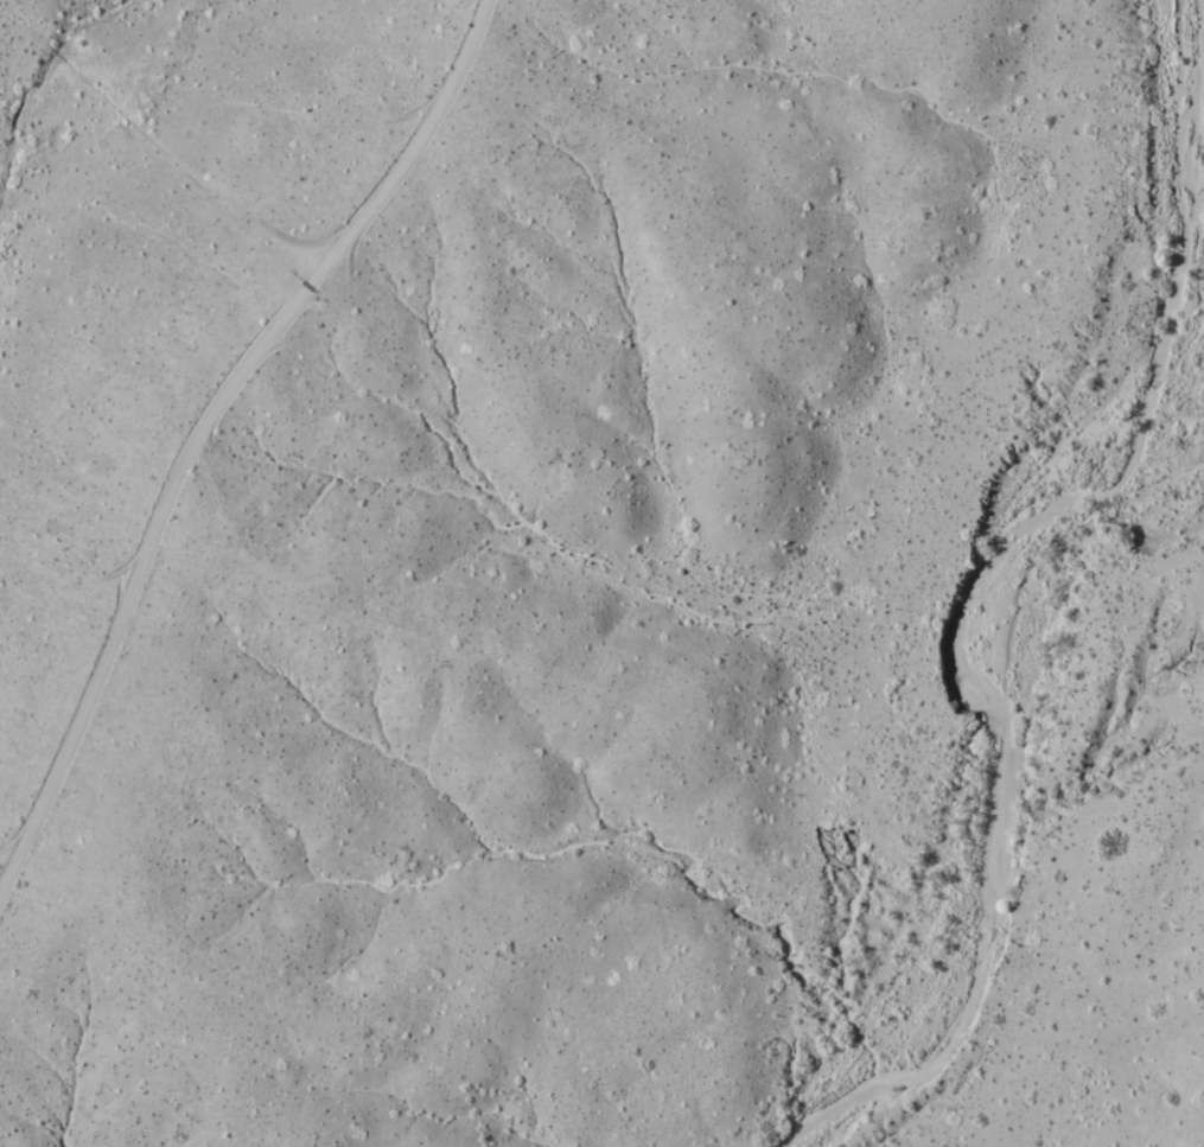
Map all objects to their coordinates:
road: (206, 427)

